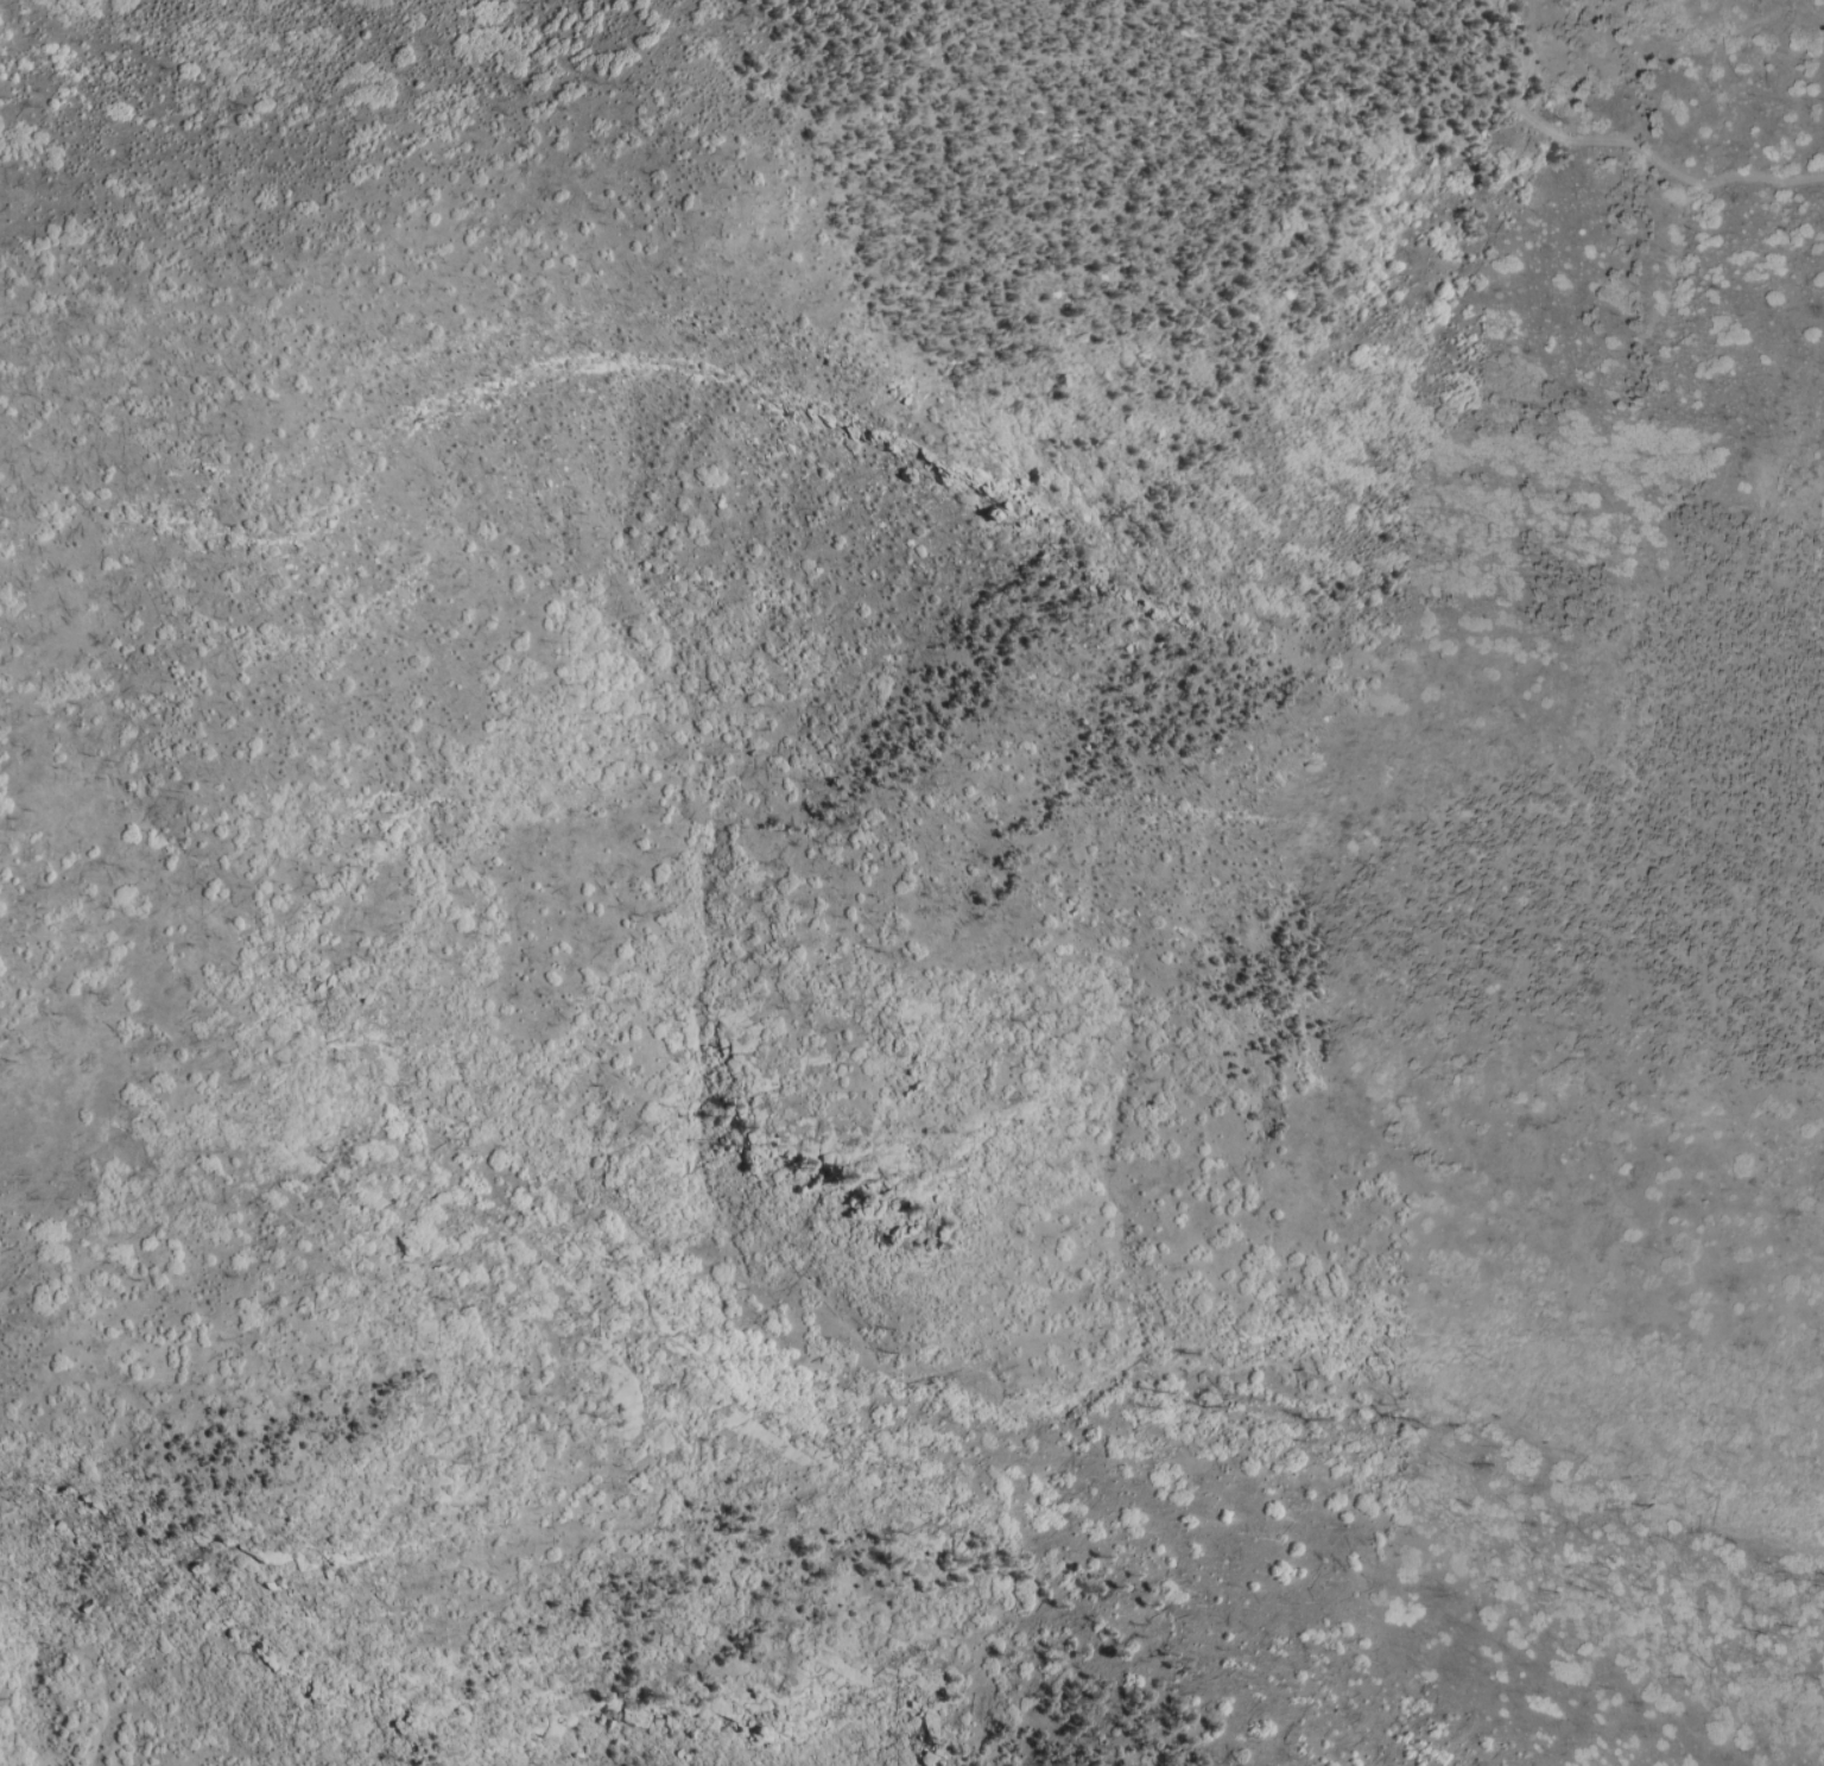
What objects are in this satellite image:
road: (1620, 140)

